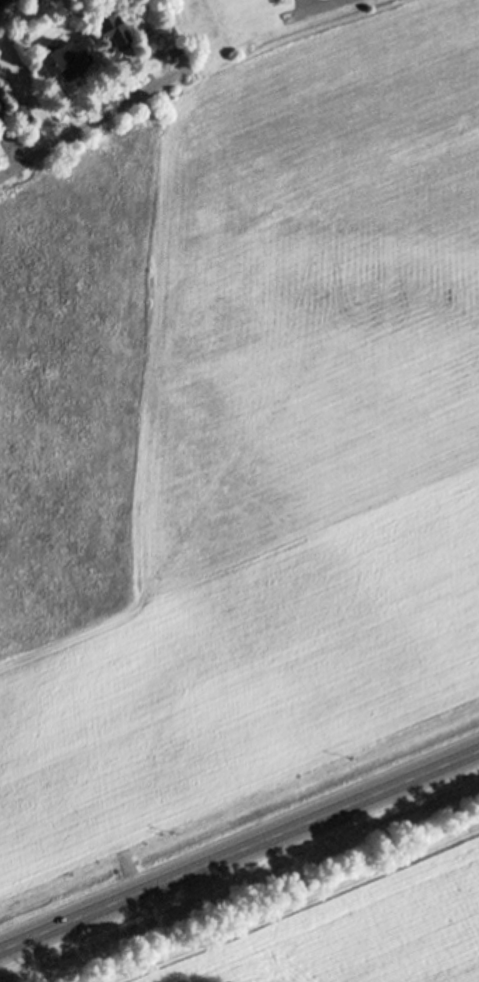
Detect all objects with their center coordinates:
road: (311, 5)
building: (109, 28)
building: (65, 57)
building: (22, 112)
building: (1, 114)
road: (92, 123)
road: (239, 849)

